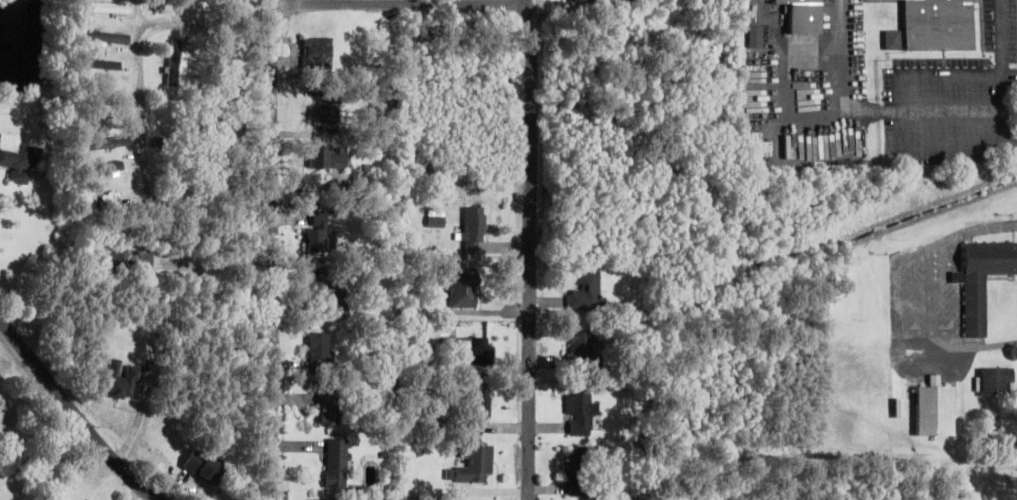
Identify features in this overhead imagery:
building: (587, 1)
building: (209, 2)
building: (159, 5)
building: (109, 7)
building: (804, 15)
building: (939, 24)
road: (537, 30)
building: (108, 36)
building: (756, 36)
building: (894, 39)
road: (394, 43)
building: (316, 52)
road: (522, 53)
building: (177, 61)
building: (327, 108)
building: (110, 142)
building: (762, 147)
building: (328, 157)
building: (19, 158)
building: (329, 187)
building: (475, 224)
building: (323, 234)
road: (276, 250)
building: (130, 258)
building: (983, 279)
road: (533, 280)
building: (463, 289)
building: (586, 291)
building: (328, 294)
building: (583, 346)
building: (320, 349)
building: (475, 349)
building: (121, 381)
building: (995, 381)
building: (330, 408)
building: (936, 408)
building: (479, 409)
building: (582, 412)
road: (76, 418)
building: (338, 463)
building: (476, 464)
building: (204, 466)
building: (583, 471)

